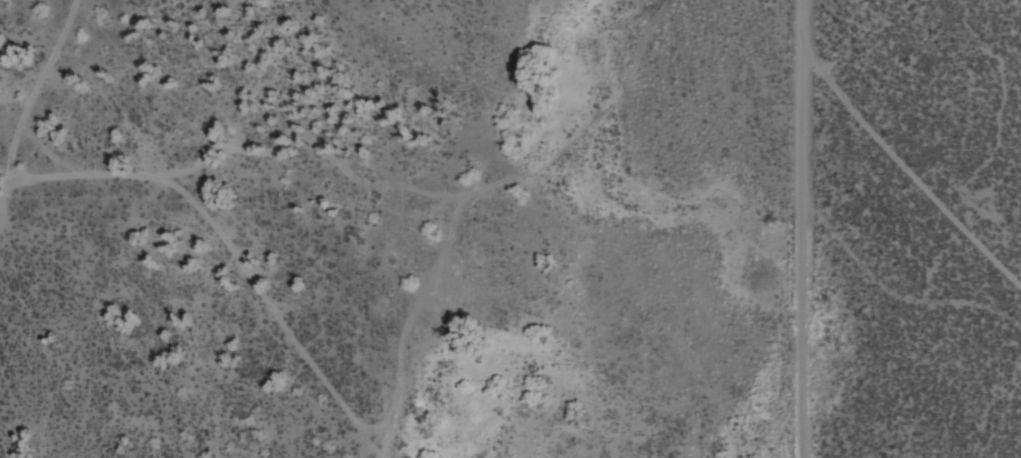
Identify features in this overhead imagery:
road: (913, 166)
road: (803, 228)
road: (898, 291)

